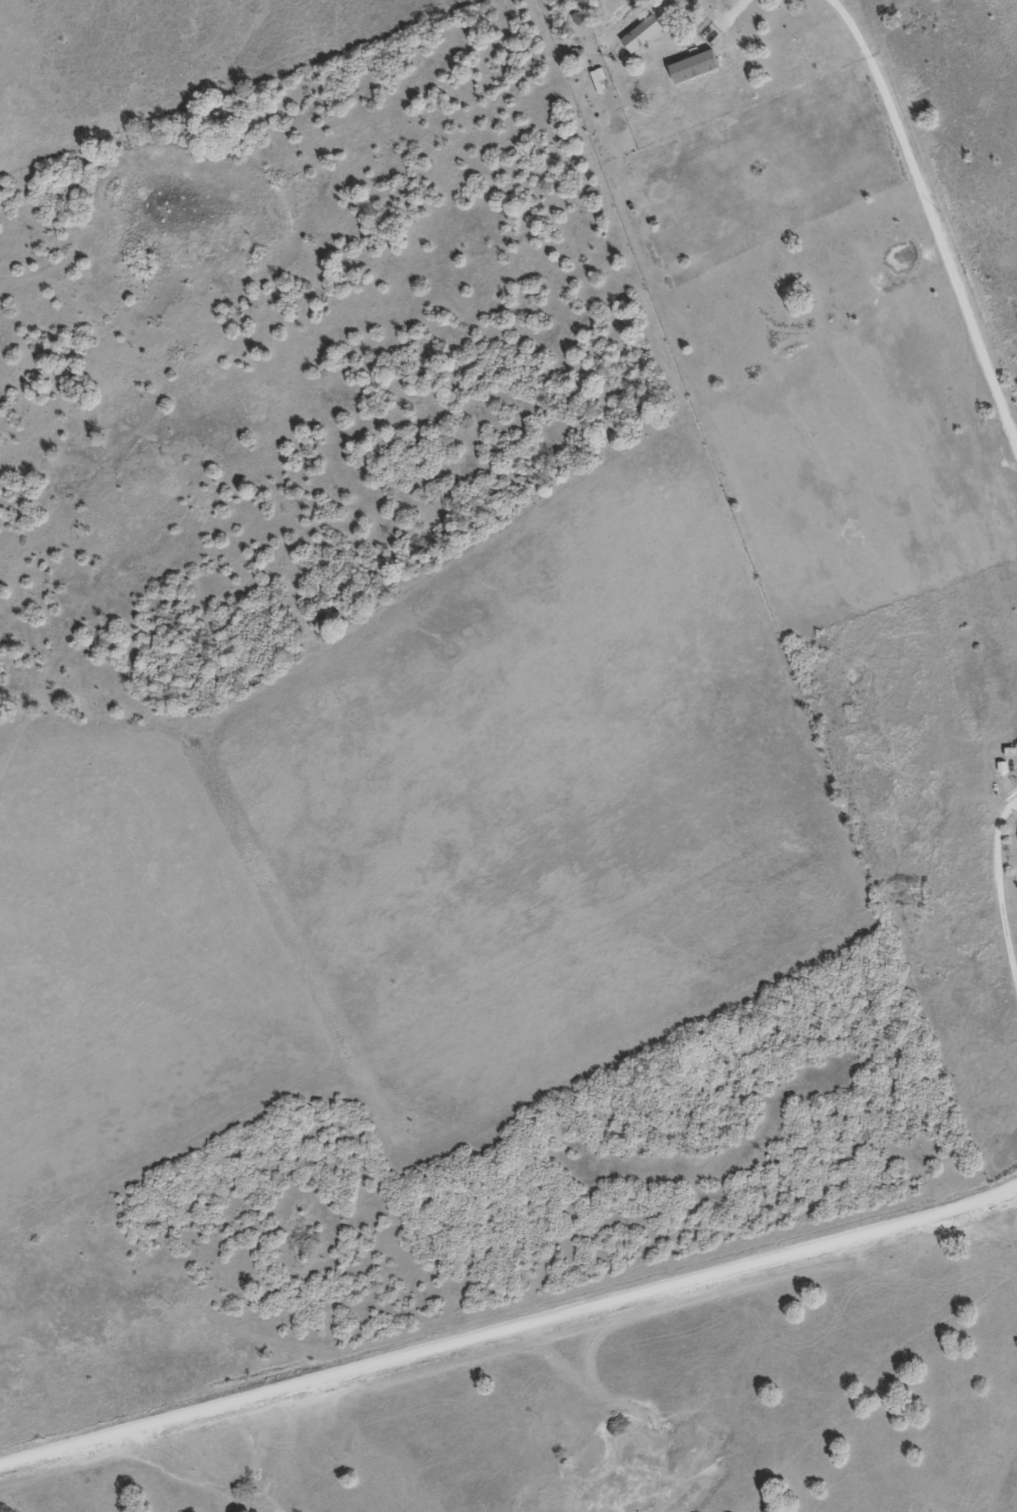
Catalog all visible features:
building: (638, 33)
road: (832, 620)
building: (1009, 751)
road: (910, 1140)
road: (779, 1162)
road: (510, 1327)

